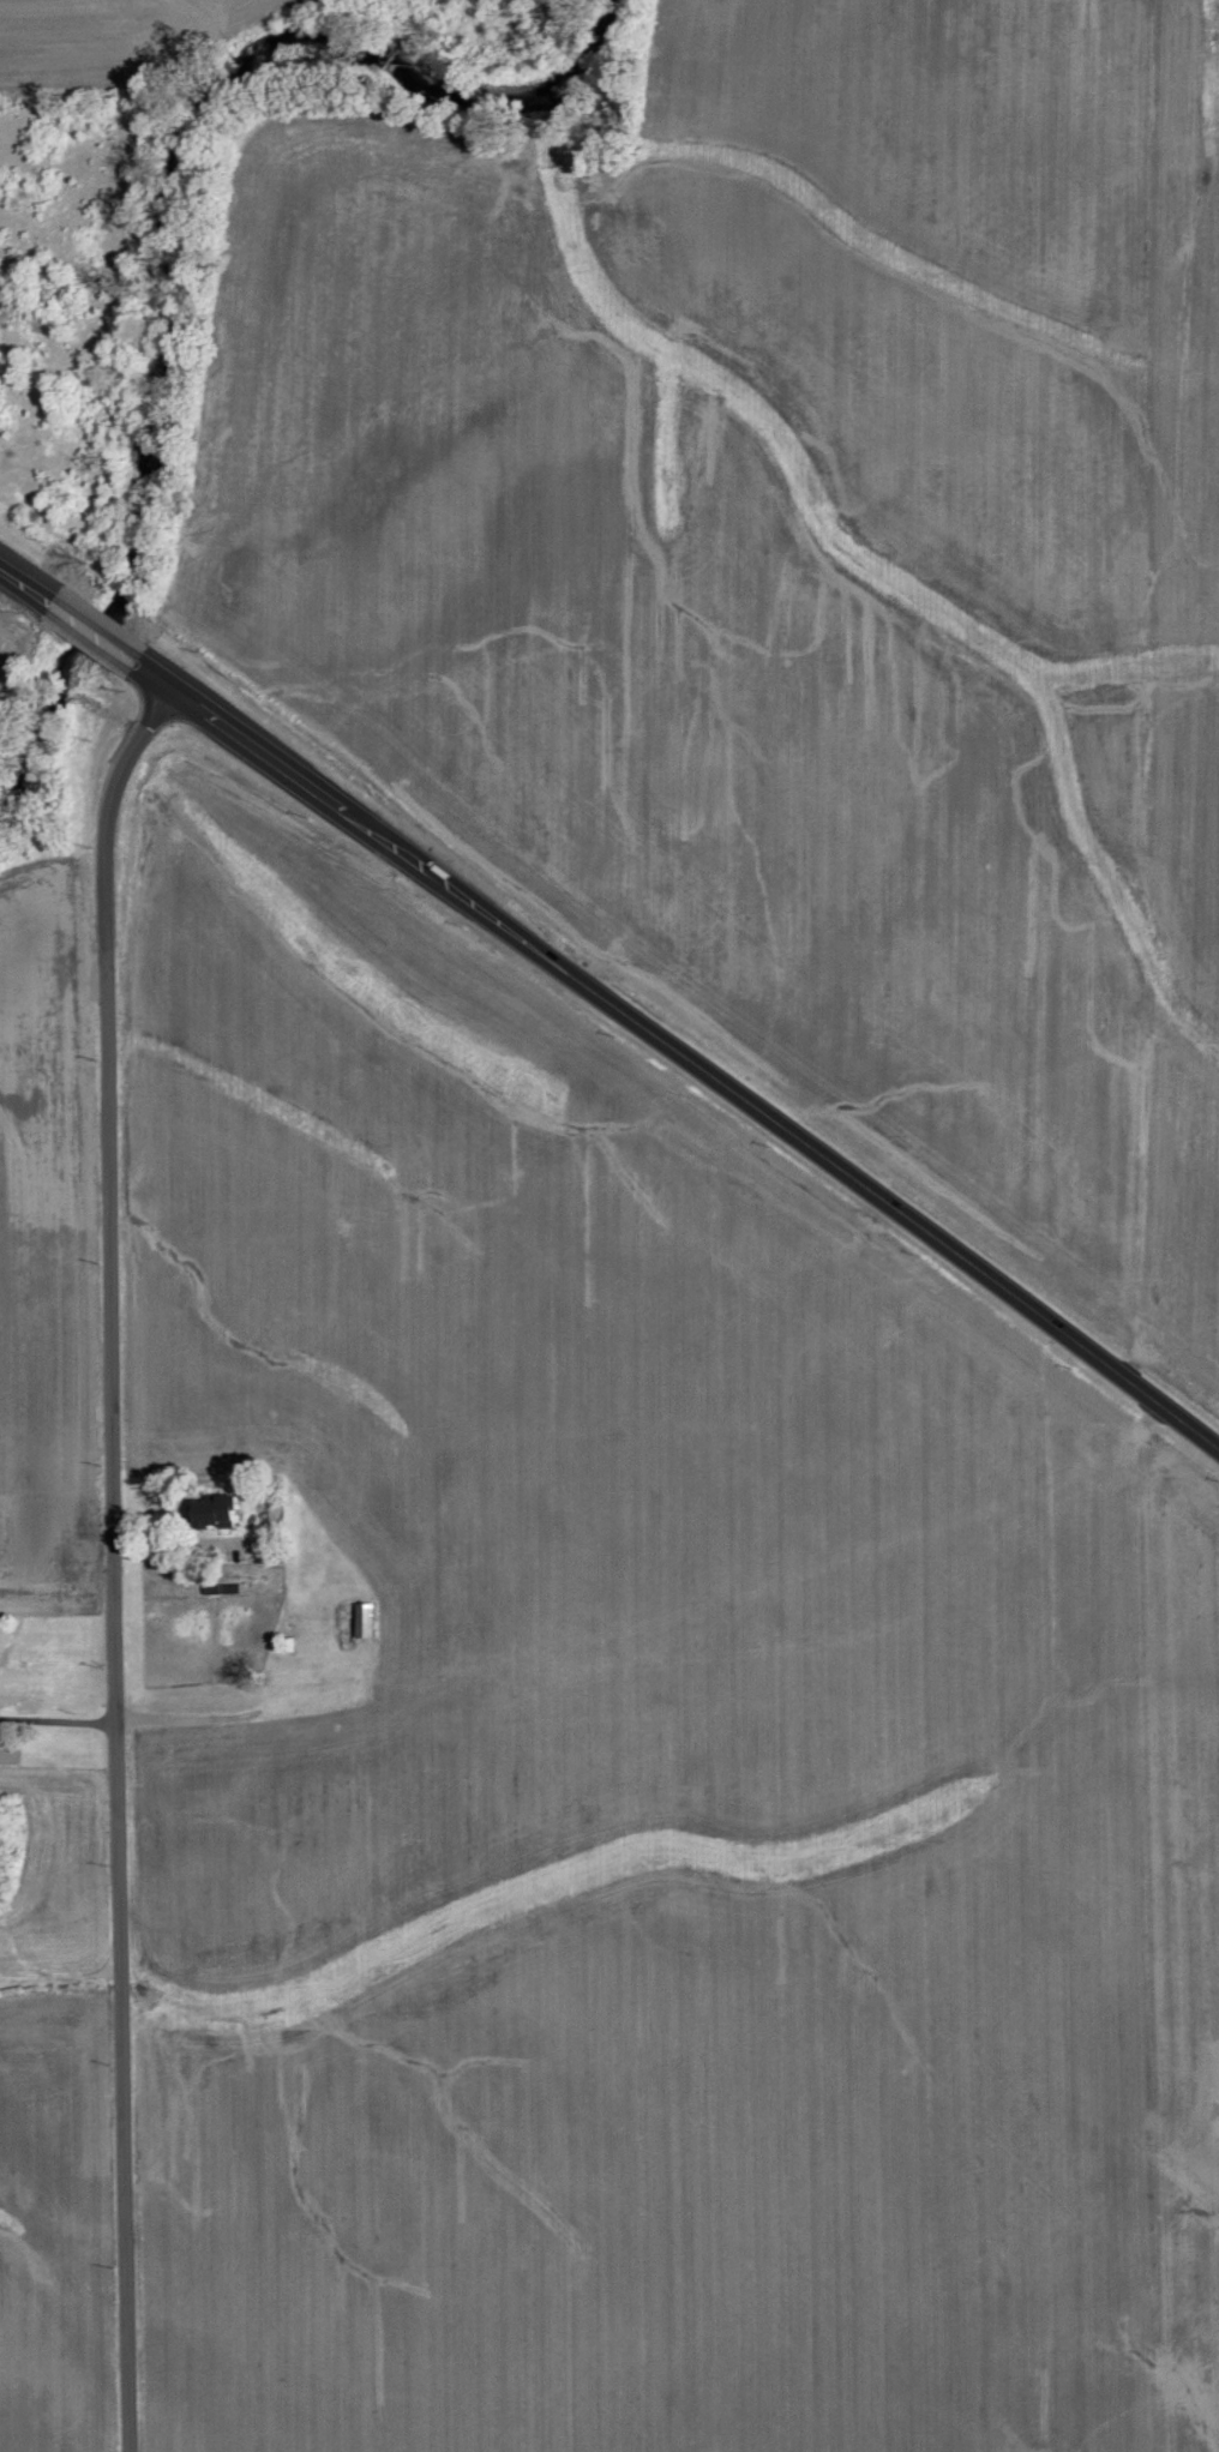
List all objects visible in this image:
road: (35, 596)
road: (92, 636)
road: (667, 1047)
building: (220, 1512)
road: (114, 1557)
building: (368, 1619)
road: (58, 1720)

